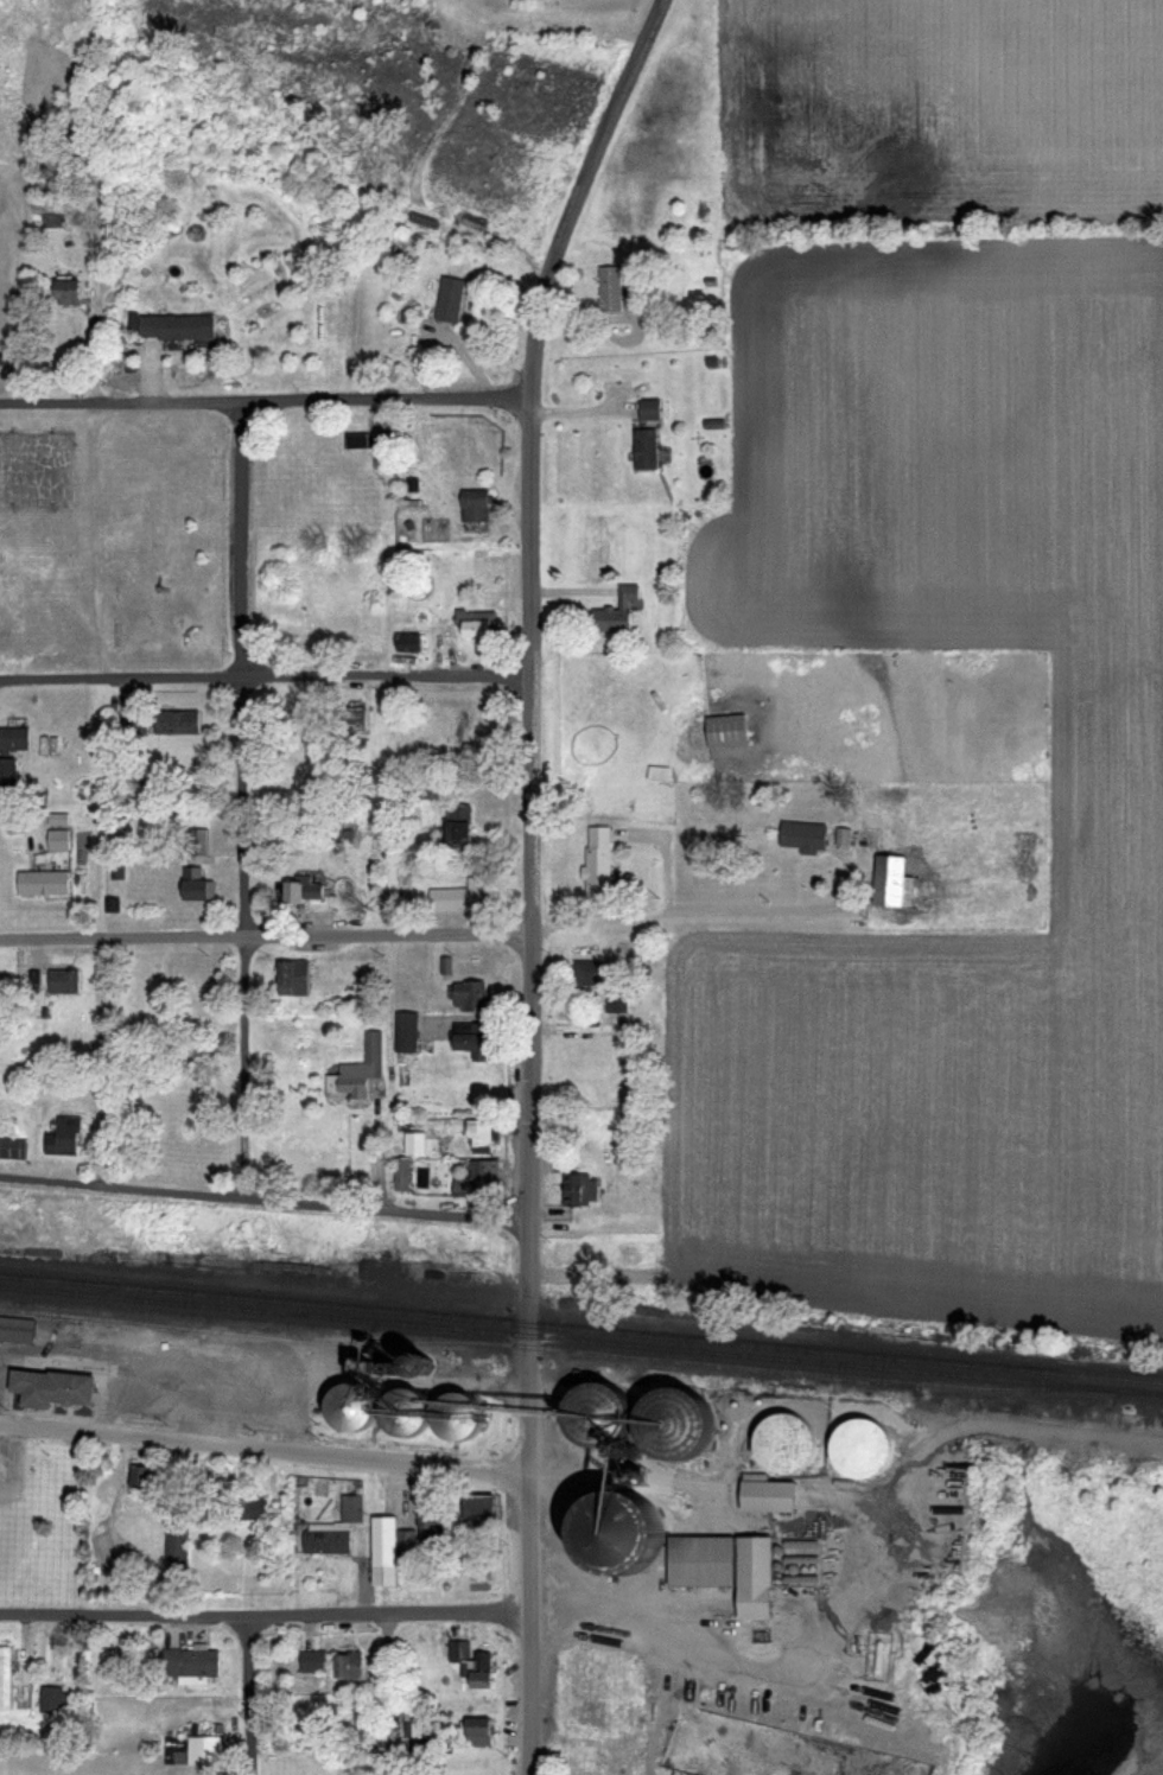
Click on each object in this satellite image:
road: (627, 68)
building: (610, 290)
building: (64, 293)
building: (450, 300)
building: (174, 327)
road: (268, 401)
road: (535, 402)
building: (648, 411)
building: (356, 441)
building: (644, 450)
building: (472, 507)
park: (115, 542)
building: (615, 611)
building: (475, 623)
building: (406, 641)
road: (266, 679)
building: (348, 718)
building: (176, 721)
building: (724, 730)
building: (453, 731)
building: (13, 738)
building: (656, 772)
building: (6, 774)
building: (428, 785)
road: (533, 785)
road: (243, 802)
building: (455, 826)
building: (802, 835)
building: (56, 839)
building: (193, 840)
building: (595, 859)
building: (888, 878)
building: (40, 882)
building: (193, 883)
building: (299, 887)
building: (457, 896)
road: (689, 909)
road: (266, 936)
building: (586, 972)
building: (20, 976)
building: (290, 976)
building: (62, 980)
building: (468, 994)
building: (615, 1000)
building: (403, 1031)
building: (469, 1038)
building: (355, 1070)
road: (530, 1094)
building: (61, 1134)
building: (482, 1135)
building: (11, 1146)
building: (478, 1177)
building: (579, 1188)
road: (265, 1202)
railway: (580, 1324)
building: (17, 1328)
road: (530, 1330)
railway: (581, 1336)
railway: (560, 1348)
building: (49, 1386)
building: (586, 1398)
building: (342, 1406)
road: (528, 1415)
building: (663, 1423)
building: (780, 1443)
building: (858, 1445)
road: (262, 1446)
building: (139, 1477)
building: (765, 1494)
building: (477, 1507)
building: (254, 1508)
building: (351, 1508)
building: (609, 1532)
building: (407, 1540)
building: (325, 1541)
building: (177, 1544)
building: (382, 1551)
building: (723, 1566)
road: (265, 1612)
road: (529, 1621)
road: (713, 1656)
building: (470, 1660)
building: (311, 1661)
building: (190, 1662)
building: (347, 1666)
building: (7, 1671)
building: (599, 1672)
road: (246, 1694)
building: (53, 1700)
building: (299, 1713)
building: (413, 1722)
building: (474, 1729)
building: (198, 1750)

